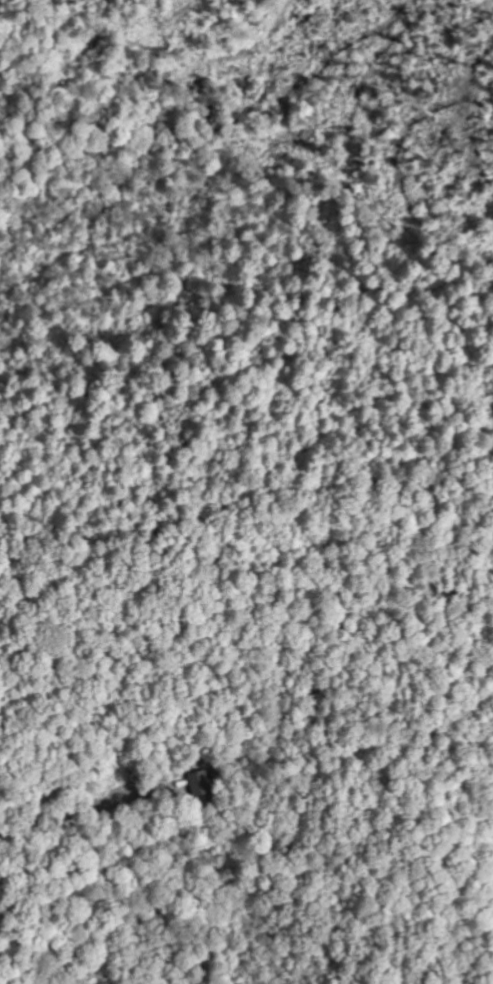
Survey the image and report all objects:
building: (197, 781)

